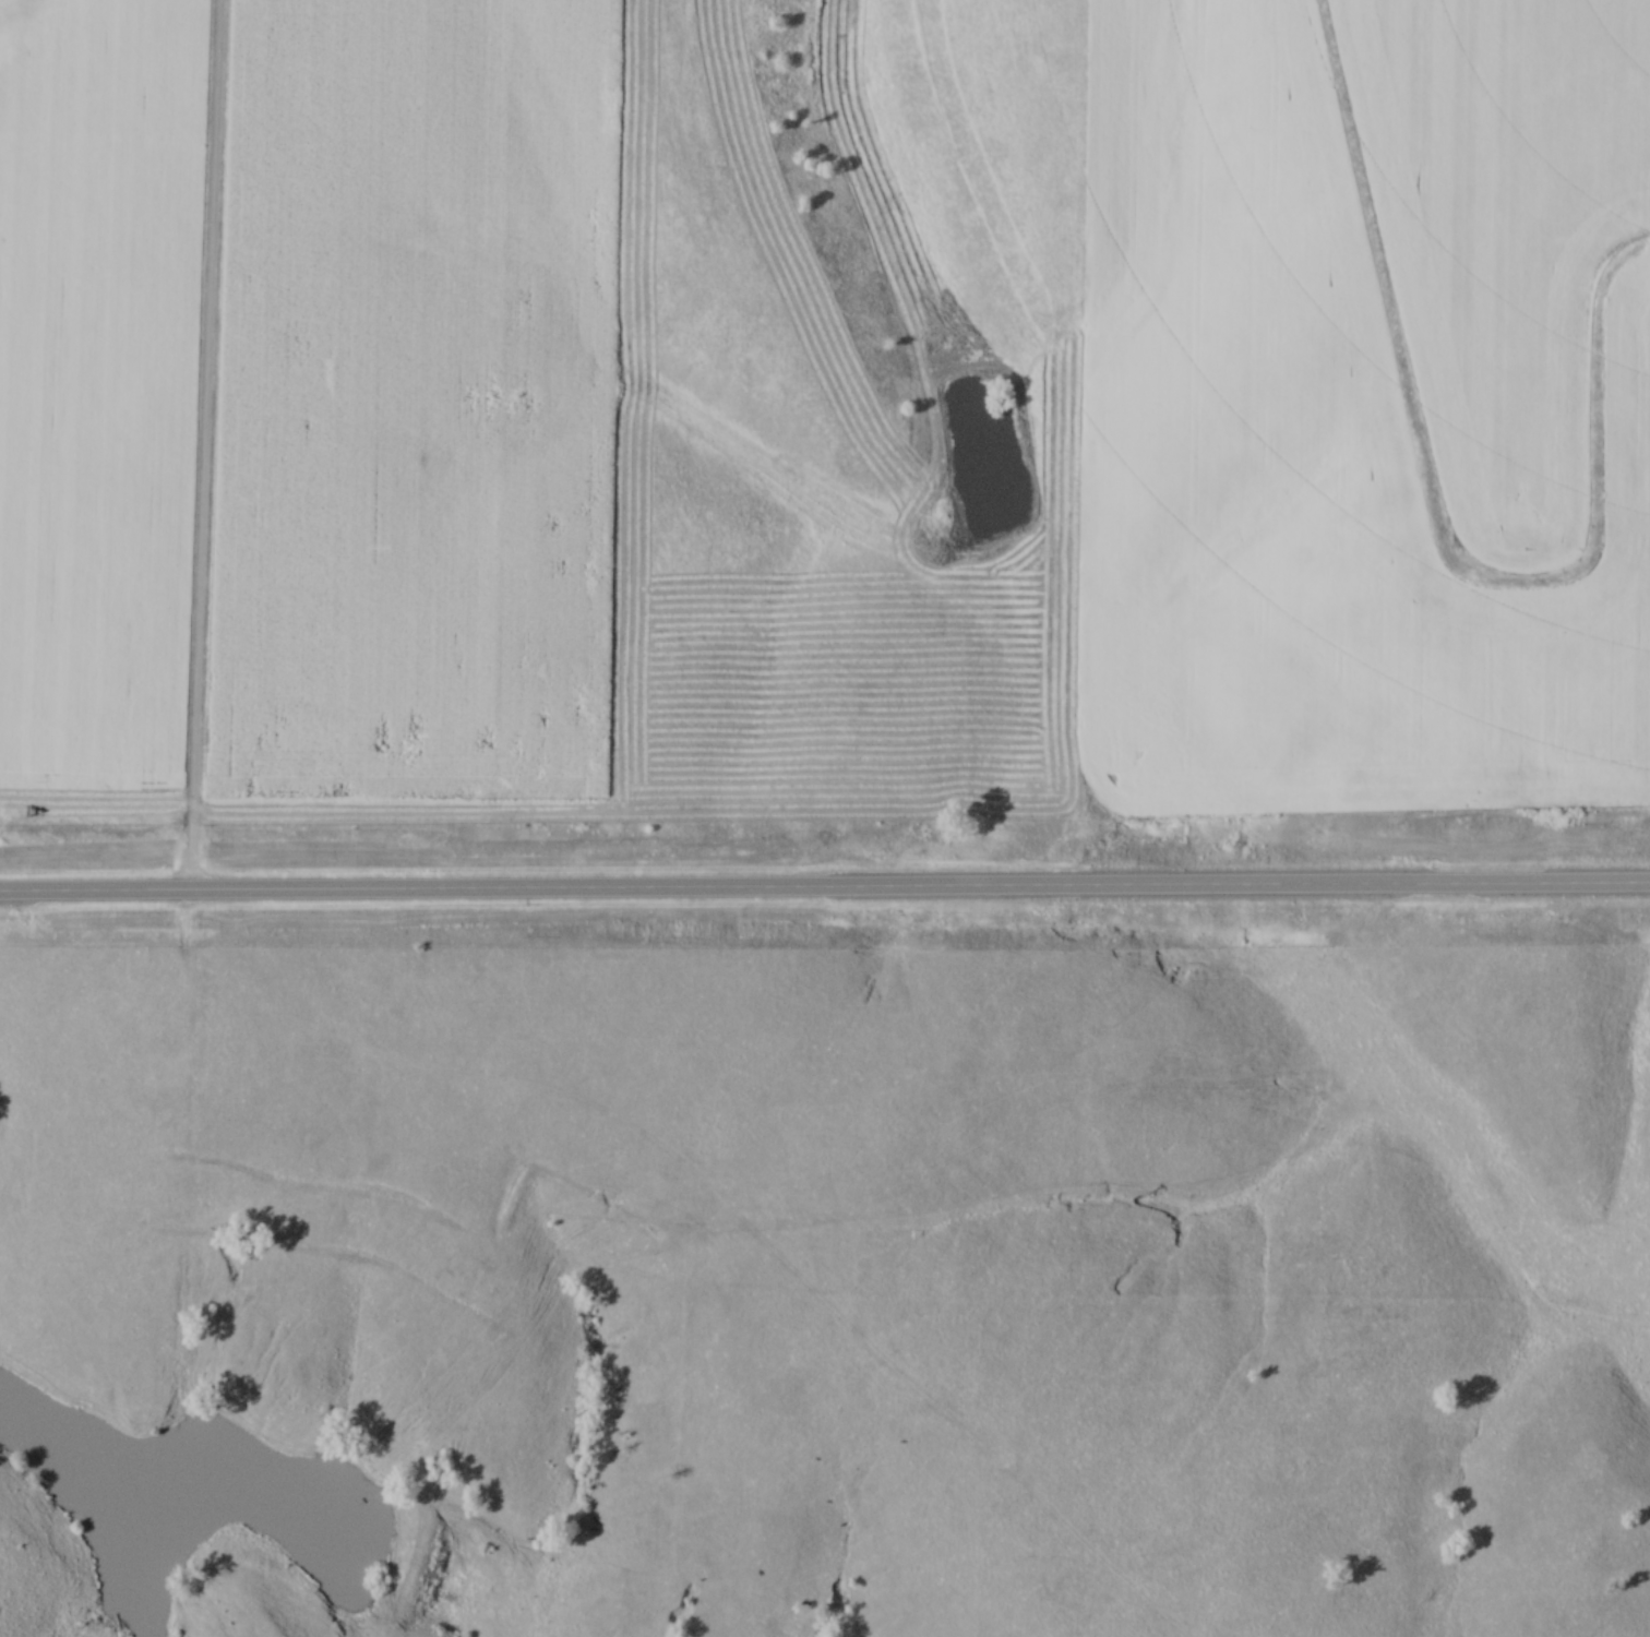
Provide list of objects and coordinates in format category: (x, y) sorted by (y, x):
road: (201, 444)
road: (825, 892)

